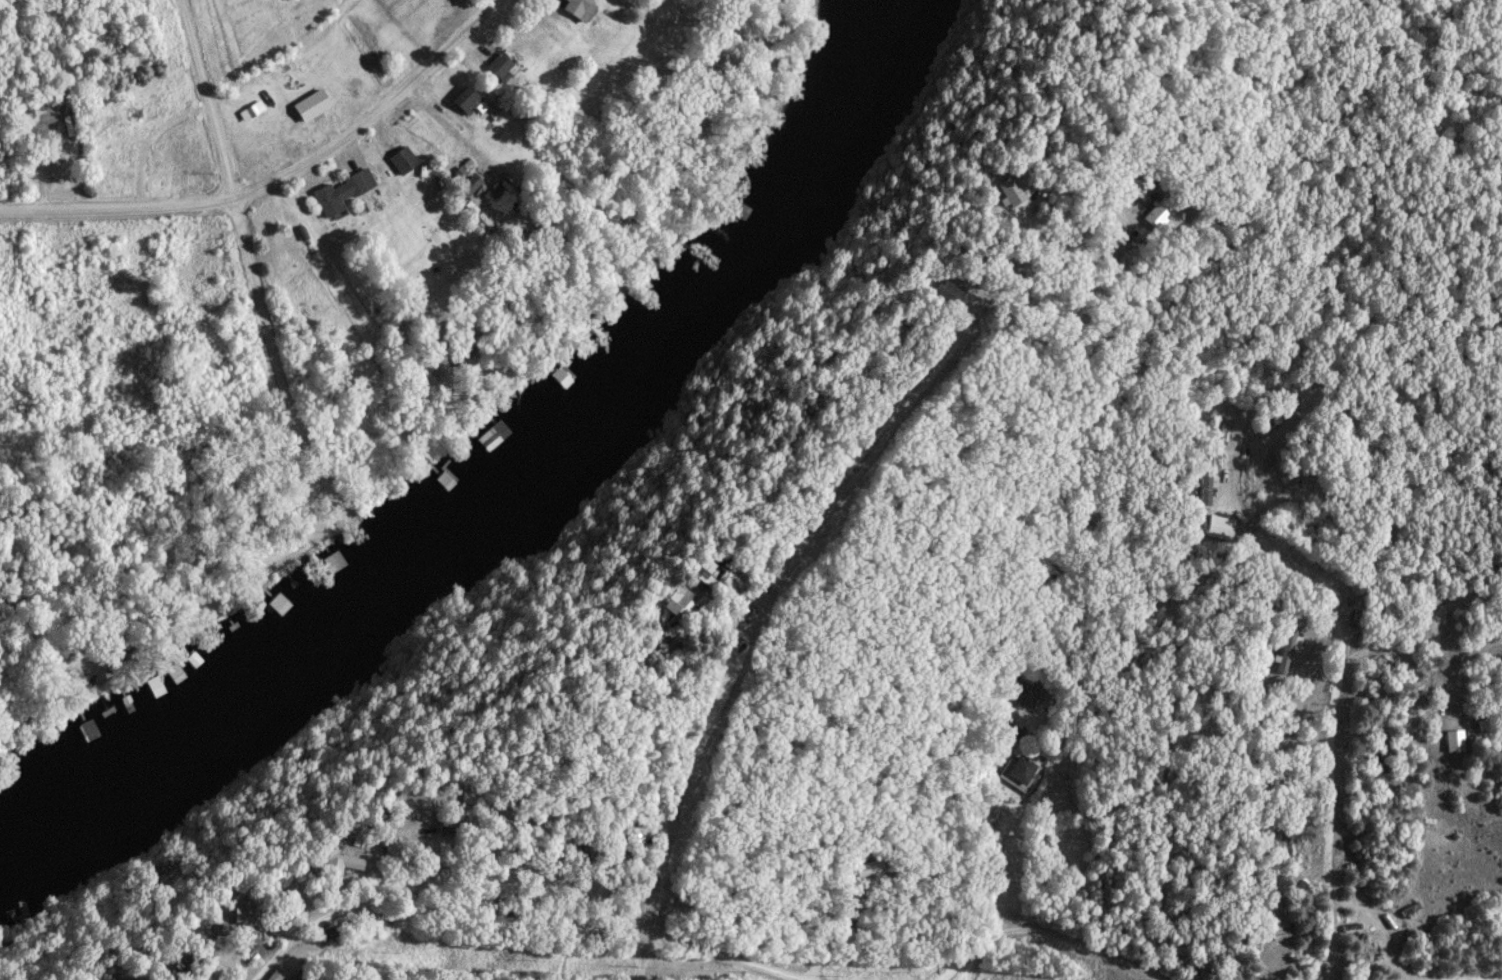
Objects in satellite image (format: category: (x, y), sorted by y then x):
building: (579, 8)
road: (651, 21)
building: (502, 65)
road: (207, 99)
building: (470, 101)
road: (377, 114)
road: (452, 129)
building: (46, 144)
building: (405, 161)
building: (1140, 189)
building: (344, 193)
road: (116, 207)
building: (1166, 218)
road: (1076, 280)
building: (952, 293)
building: (901, 336)
building: (495, 436)
building: (1208, 479)
river: (527, 501)
road: (294, 525)
building: (1222, 528)
building: (1388, 539)
road: (797, 555)
building: (335, 562)
building: (688, 603)
building: (282, 607)
road: (1423, 621)
road: (1343, 643)
building: (1289, 653)
road: (1061, 693)
building: (1025, 695)
building: (90, 731)
building: (1457, 741)
building: (1024, 770)
building: (477, 797)
building: (511, 826)
building: (1282, 846)
building: (341, 861)
building: (873, 874)
road: (512, 878)
building: (251, 916)
building: (1278, 916)
building: (579, 932)
building: (339, 934)
road: (1046, 935)
road: (160, 942)
road: (644, 952)
building: (302, 976)
road: (1464, 977)

